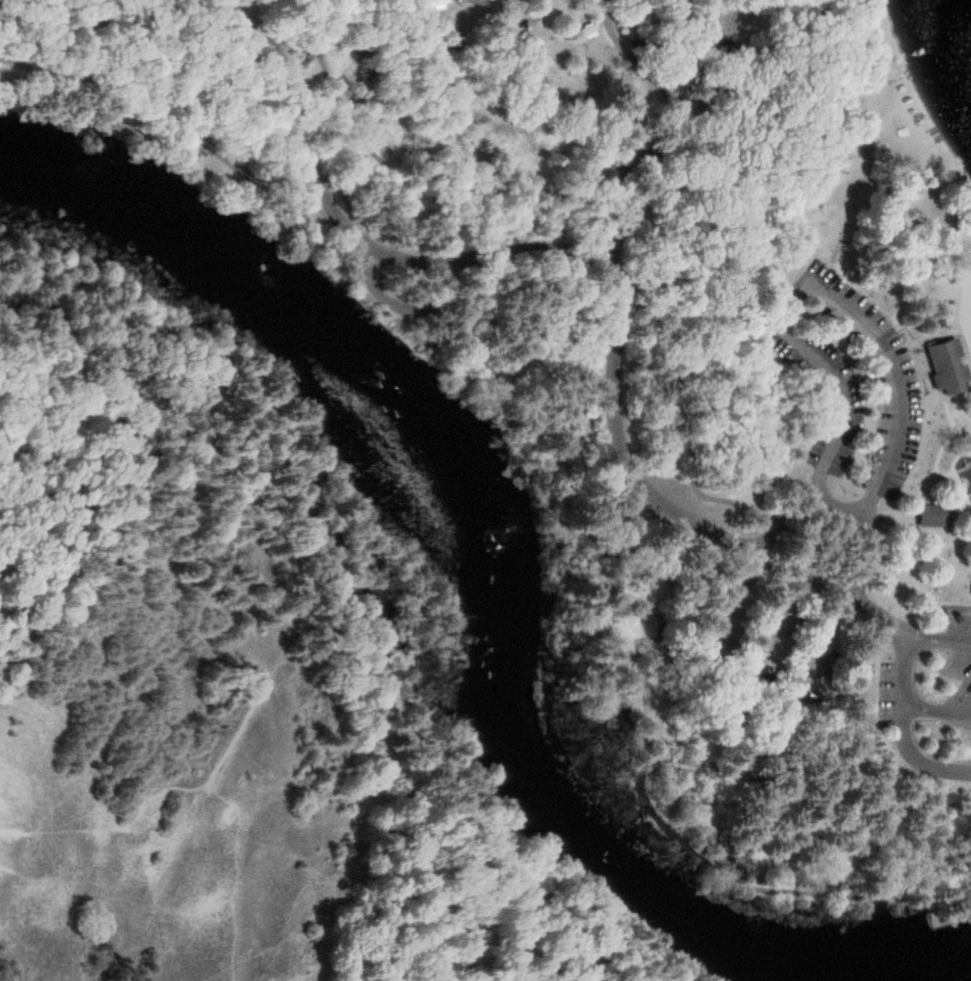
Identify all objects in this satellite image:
building: (435, 4)
road: (870, 27)
road: (632, 59)
road: (191, 137)
road: (630, 146)
road: (623, 215)
road: (634, 226)
road: (507, 248)
park: (732, 265)
road: (837, 295)
road: (396, 304)
building: (946, 367)
parking lot: (879, 387)
parking lot: (826, 395)
road: (48, 419)
road: (572, 448)
road: (244, 468)
park: (481, 494)
building: (932, 515)
road: (86, 529)
river: (487, 599)
parking lot: (763, 649)
parking lot: (954, 665)
road: (854, 693)
road: (935, 710)
road: (817, 724)
road: (898, 730)
road: (875, 732)
road: (539, 849)
road: (710, 862)

